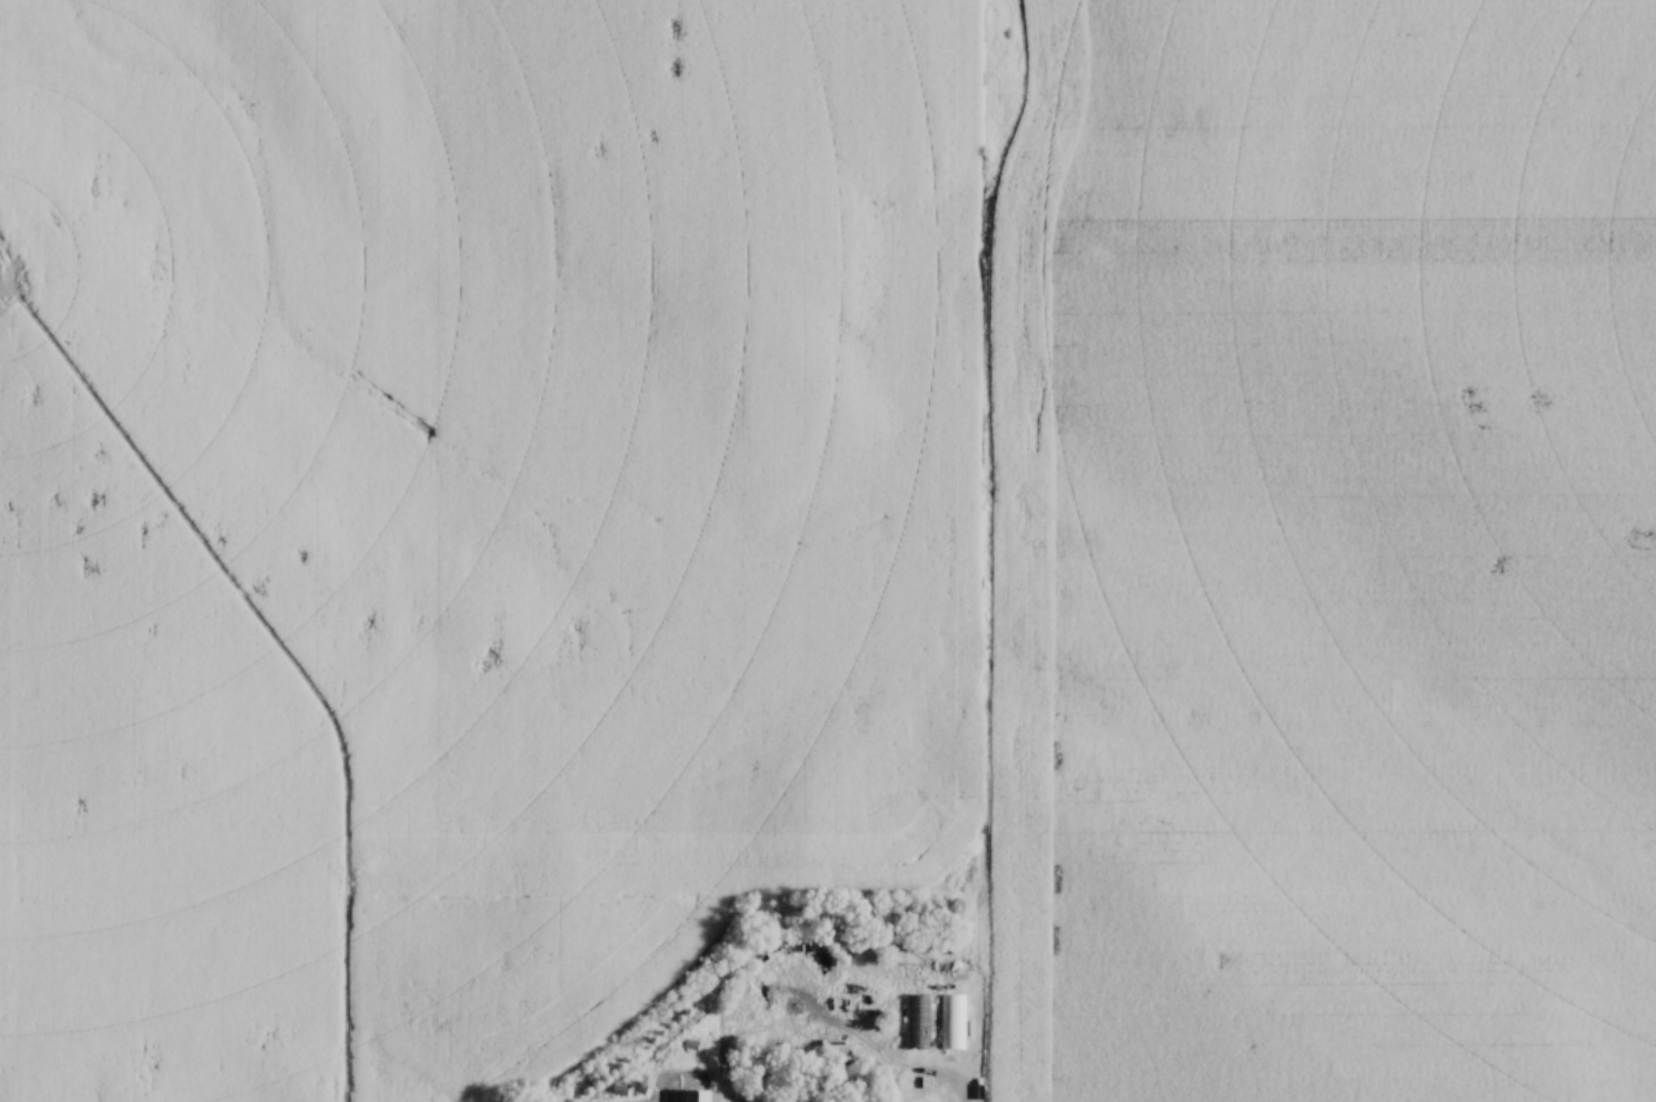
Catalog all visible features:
building: (914, 1022)
building: (695, 1096)

